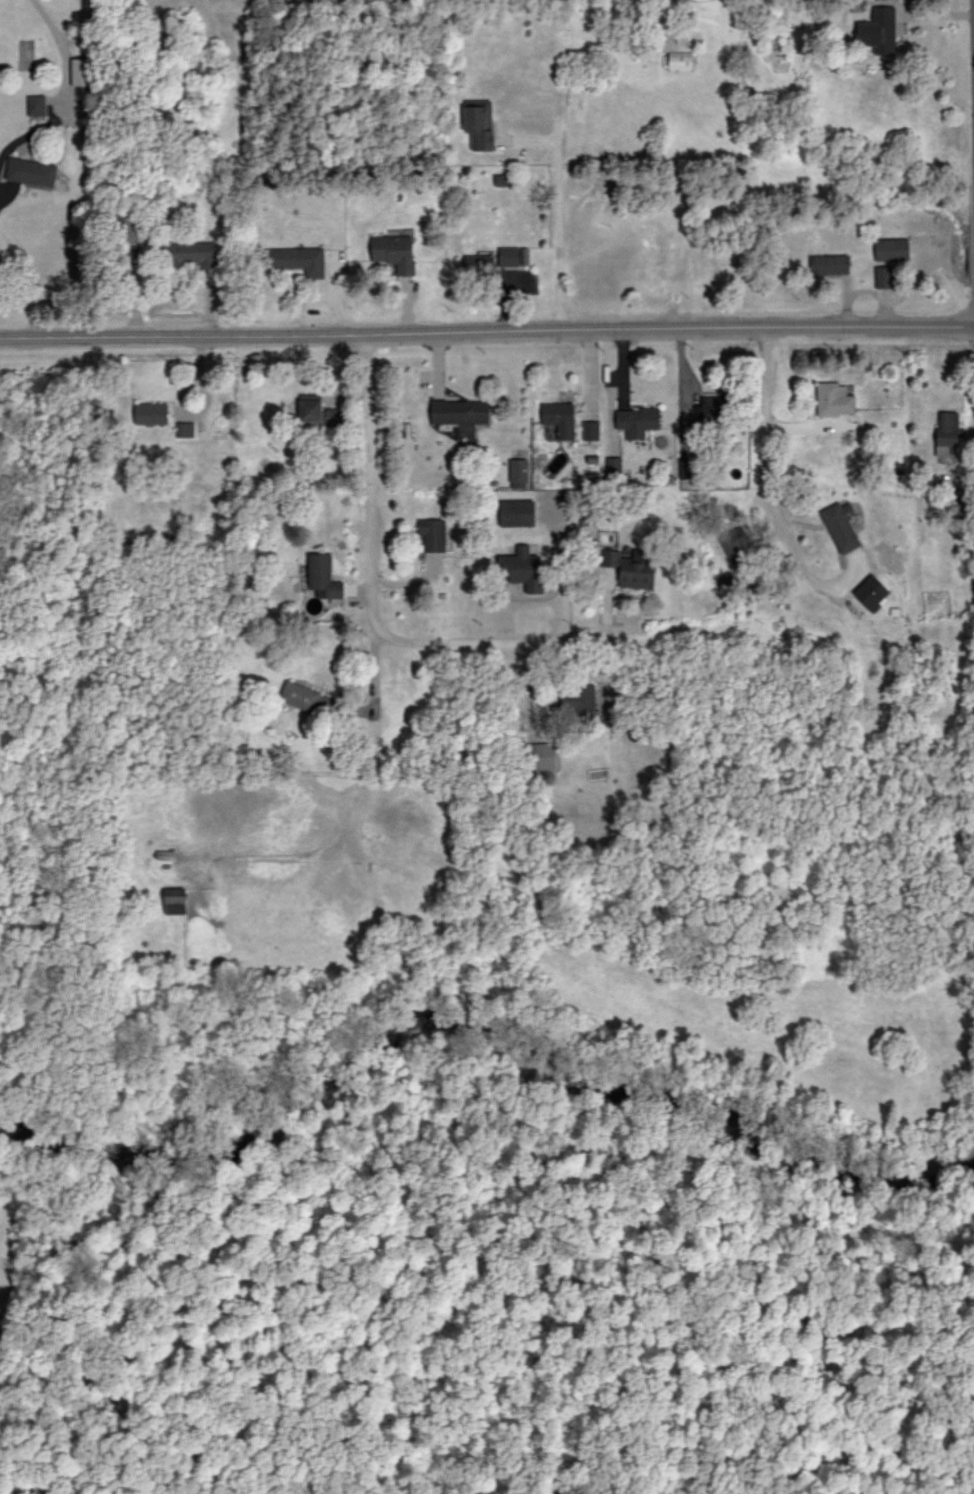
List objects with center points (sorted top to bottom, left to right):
building: (879, 30)
building: (680, 59)
road: (971, 60)
building: (82, 71)
road: (62, 91)
building: (37, 104)
building: (479, 123)
building: (31, 171)
road: (558, 217)
building: (133, 228)
building: (892, 248)
building: (395, 251)
building: (193, 253)
building: (513, 256)
building: (298, 259)
building: (479, 264)
building: (830, 264)
building: (885, 276)
road: (487, 334)
building: (835, 399)
building: (712, 409)
building: (320, 411)
building: (460, 411)
building: (151, 413)
building: (560, 418)
building: (637, 421)
building: (185, 429)
building: (591, 429)
building: (947, 433)
road: (771, 443)
building: (614, 466)
building: (686, 467)
building: (519, 473)
building: (517, 512)
road: (369, 514)
building: (841, 526)
building: (432, 534)
building: (737, 544)
building: (522, 568)
building: (628, 569)
building: (323, 576)
building: (725, 580)
building: (872, 592)
building: (309, 699)
building: (575, 701)
road: (637, 726)
building: (543, 755)
building: (175, 900)
river: (485, 1029)

